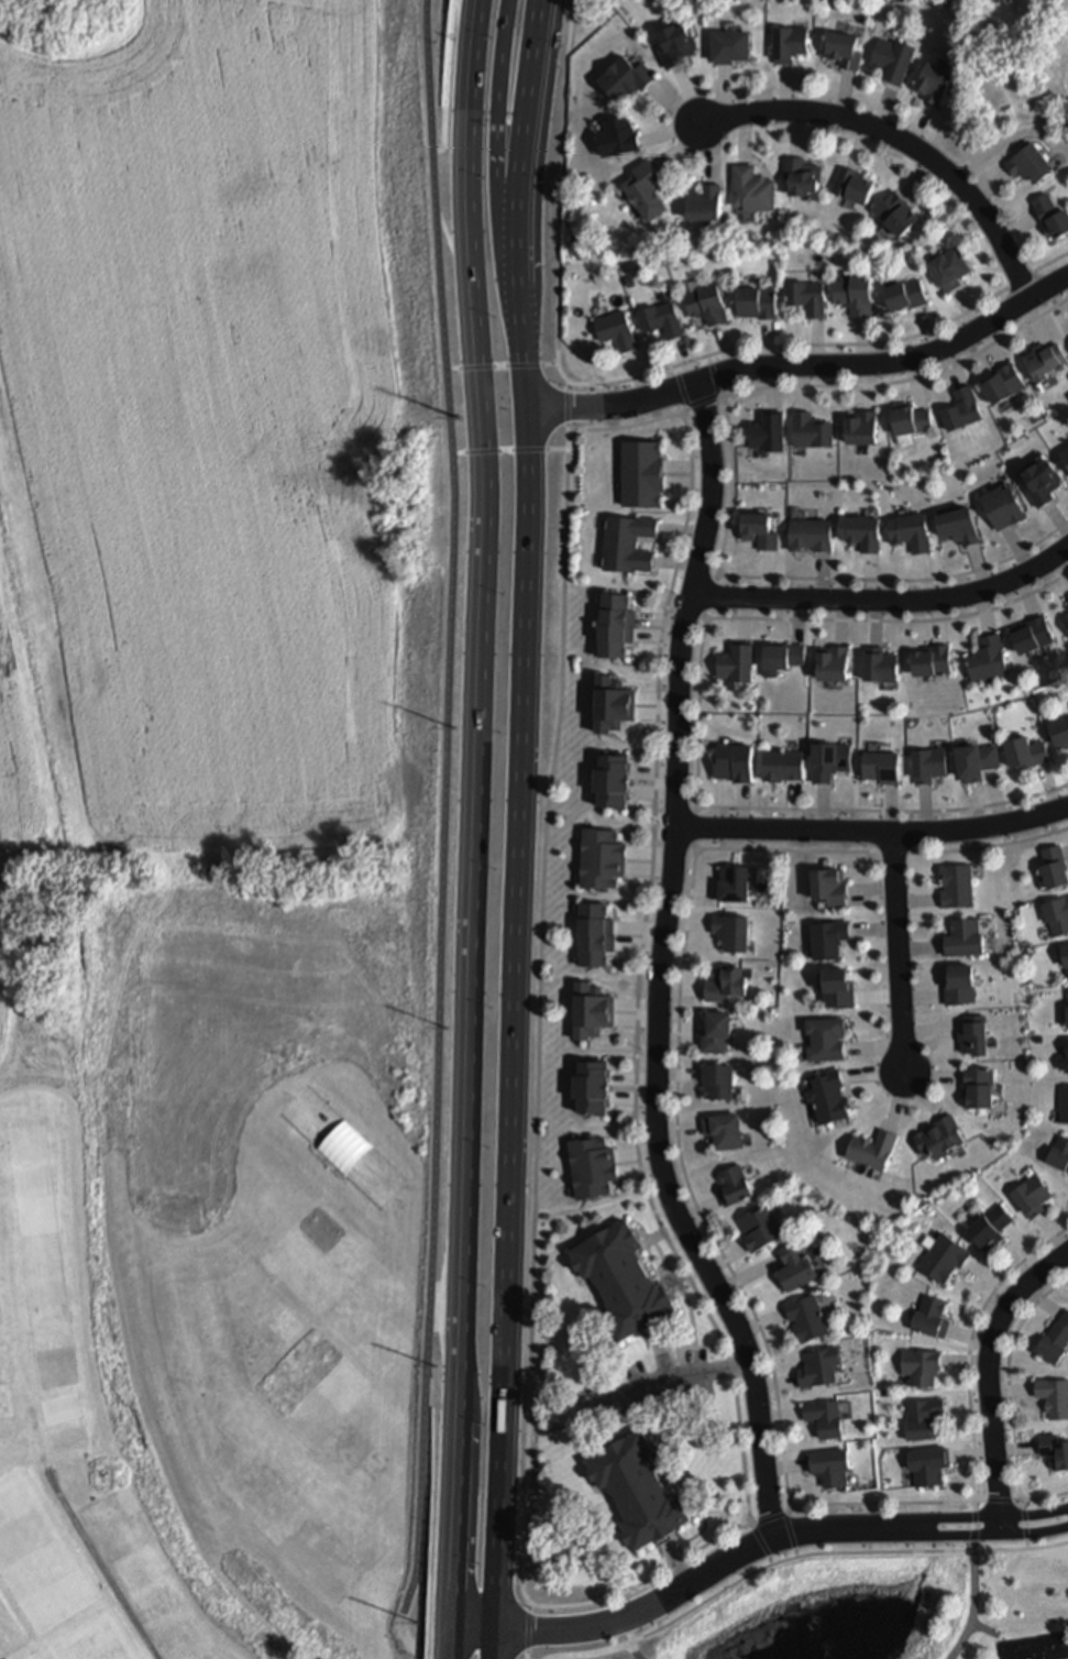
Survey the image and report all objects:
road: (474, 44)
building: (672, 44)
building: (784, 44)
building: (726, 46)
building: (837, 48)
building: (888, 59)
road: (445, 78)
building: (623, 79)
building: (927, 84)
road: (527, 114)
road: (497, 117)
building: (614, 138)
road: (899, 143)
building: (1026, 164)
building: (799, 176)
building: (850, 185)
building: (642, 190)
building: (749, 190)
building: (702, 202)
building: (892, 216)
building: (1049, 216)
road: (454, 252)
road: (1048, 263)
building: (947, 268)
building: (850, 295)
building: (903, 296)
building: (804, 297)
building: (753, 303)
building: (704, 304)
road: (1054, 305)
building: (658, 320)
building: (613, 330)
building: (1041, 361)
road: (499, 367)
road: (804, 370)
building: (1001, 384)
road: (602, 385)
road: (723, 399)
building: (960, 409)
road: (565, 411)
road: (682, 414)
power tower: (459, 417)
building: (906, 420)
building: (857, 429)
building: (806, 431)
building: (763, 432)
road: (507, 451)
building: (1063, 459)
building: (641, 472)
building: (1039, 482)
road: (730, 486)
building: (1000, 508)
building: (957, 527)
building: (752, 531)
building: (857, 532)
building: (907, 532)
building: (806, 536)
building: (621, 545)
road: (675, 572)
road: (716, 575)
road: (884, 601)
building: (1067, 601)
road: (668, 608)
building: (1067, 609)
road: (703, 618)
building: (1065, 624)
building: (610, 626)
building: (1032, 636)
building: (779, 657)
building: (984, 659)
building: (929, 663)
building: (734, 664)
building: (829, 666)
building: (878, 668)
building: (606, 705)
road: (695, 714)
power tower: (452, 724)
road: (517, 727)
building: (1059, 735)
building: (1023, 754)
road: (476, 757)
building: (825, 761)
building: (973, 761)
building: (728, 762)
building: (778, 765)
building: (926, 765)
building: (877, 768)
building: (606, 781)
road: (693, 807)
road: (656, 811)
road: (876, 815)
road: (907, 815)
road: (443, 824)
park: (203, 832)
road: (872, 833)
road: (654, 843)
road: (988, 847)
road: (693, 848)
building: (596, 858)
building: (1050, 868)
building: (953, 886)
building: (727, 887)
building: (825, 890)
building: (1056, 919)
building: (728, 933)
building: (592, 935)
building: (959, 940)
building: (824, 941)
road: (898, 956)
building: (1064, 958)
road: (658, 968)
building: (720, 986)
building: (957, 986)
building: (833, 991)
building: (1065, 1010)
building: (588, 1011)
power tower: (448, 1031)
building: (709, 1033)
building: (970, 1037)
building: (821, 1041)
building: (1063, 1061)
building: (713, 1083)
building: (976, 1088)
building: (586, 1089)
building: (825, 1096)
building: (1061, 1105)
building: (718, 1132)
building: (935, 1139)
building: (343, 1146)
building: (869, 1150)
building: (1058, 1154)
building: (591, 1165)
building: (729, 1186)
building: (1030, 1197)
building: (987, 1228)
building: (756, 1230)
road: (651, 1239)
building: (940, 1259)
building: (790, 1268)
road: (673, 1282)
building: (617, 1283)
road: (679, 1292)
building: (927, 1317)
building: (802, 1320)
road: (757, 1330)
building: (1052, 1340)
road: (697, 1349)
building: (857, 1363)
power tower: (434, 1365)
building: (915, 1367)
building: (814, 1369)
road: (987, 1372)
road: (662, 1380)
parking lot: (643, 1387)
building: (1053, 1397)
road: (1009, 1399)
building: (821, 1417)
building: (918, 1419)
road: (502, 1442)
building: (1054, 1452)
building: (925, 1466)
building: (827, 1469)
building: (638, 1490)
road: (978, 1498)
road: (1016, 1498)
road: (997, 1502)
road: (1022, 1504)
road: (972, 1505)
road: (786, 1508)
road: (768, 1518)
road: (747, 1523)
road: (724, 1525)
road: (1022, 1525)
road: (973, 1526)
road: (455, 1528)
road: (784, 1532)
road: (1025, 1545)
road: (973, 1546)
road: (793, 1553)
road: (836, 1553)
road: (768, 1561)
road: (101, 1569)
road: (660, 1571)
park: (1011, 1600)
road: (971, 1607)
road: (527, 1616)
road: (488, 1631)
road: (450, 1645)
road: (527, 1646)
road: (415, 1650)
road: (602, 1651)
road: (401, 1652)

